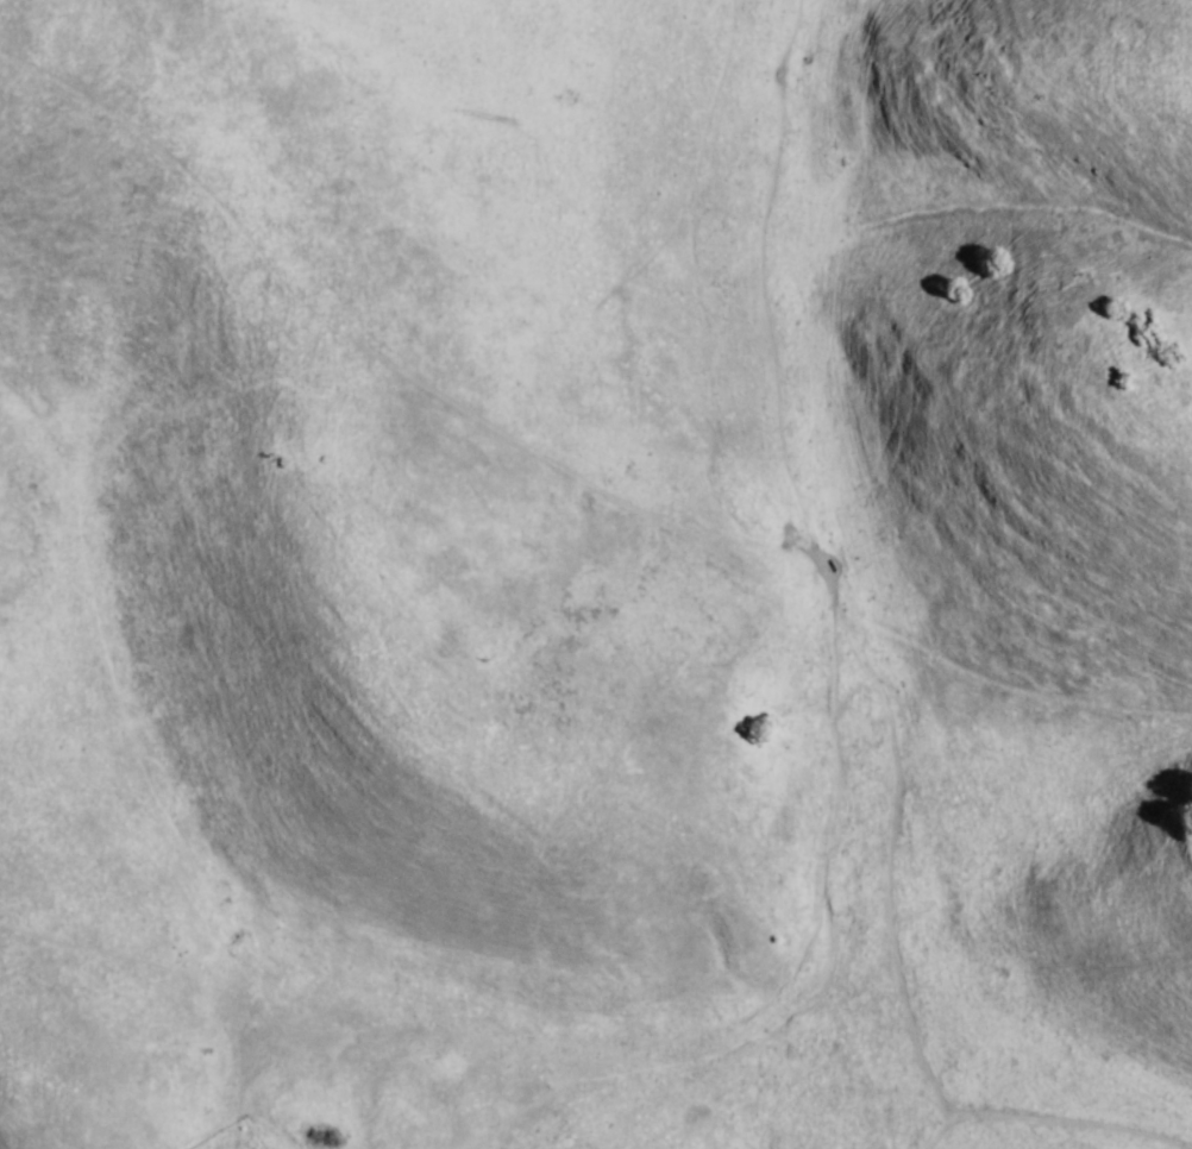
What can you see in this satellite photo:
road: (878, 560)
road: (1029, 1122)

